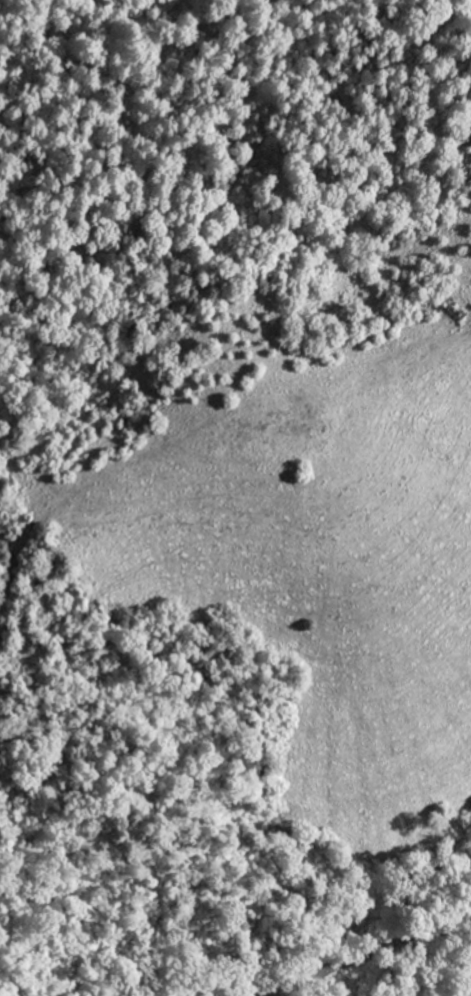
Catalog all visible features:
building: (452, 313)
railway: (358, 951)

